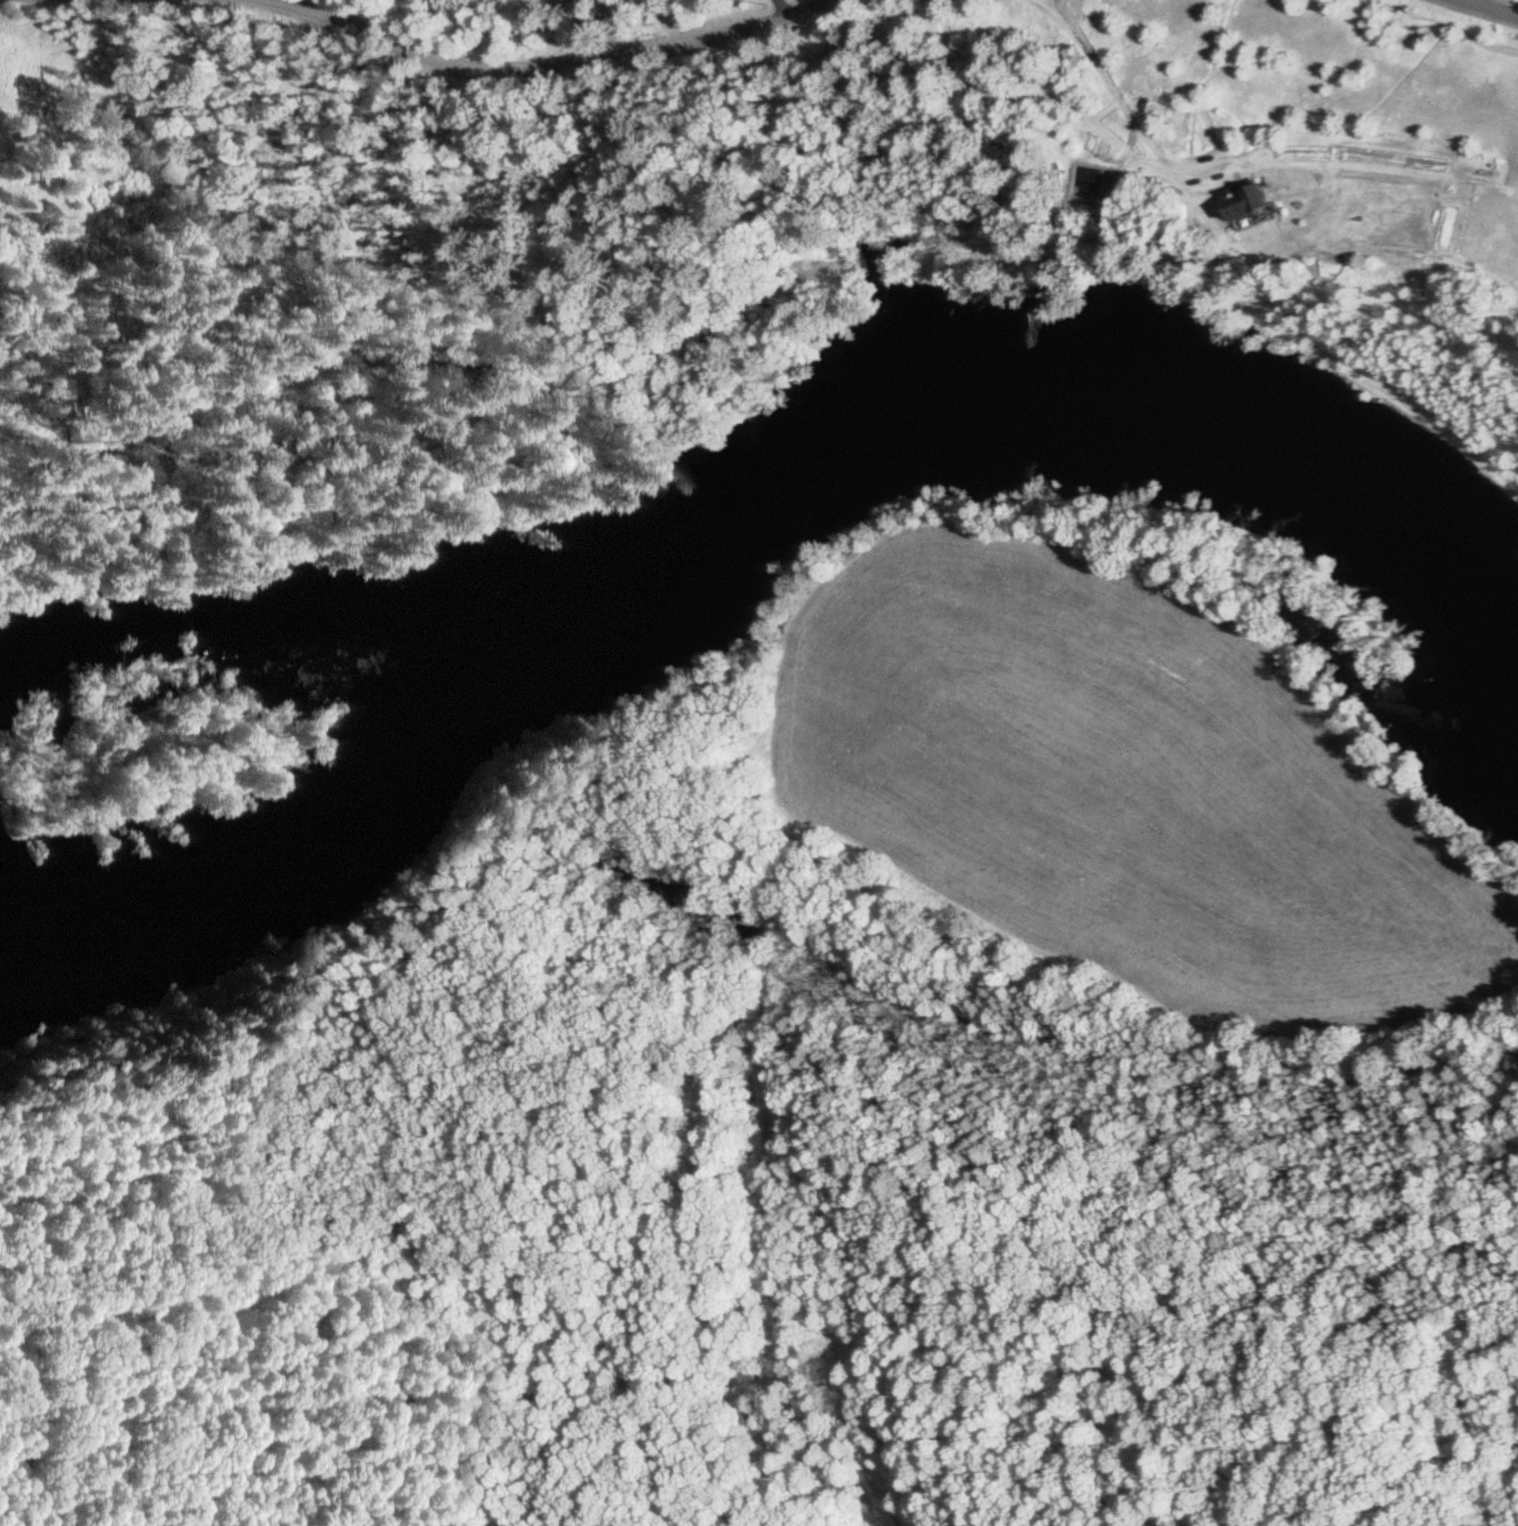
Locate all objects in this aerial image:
road: (1487, 9)
road: (544, 70)
building: (1245, 207)
river: (742, 504)

